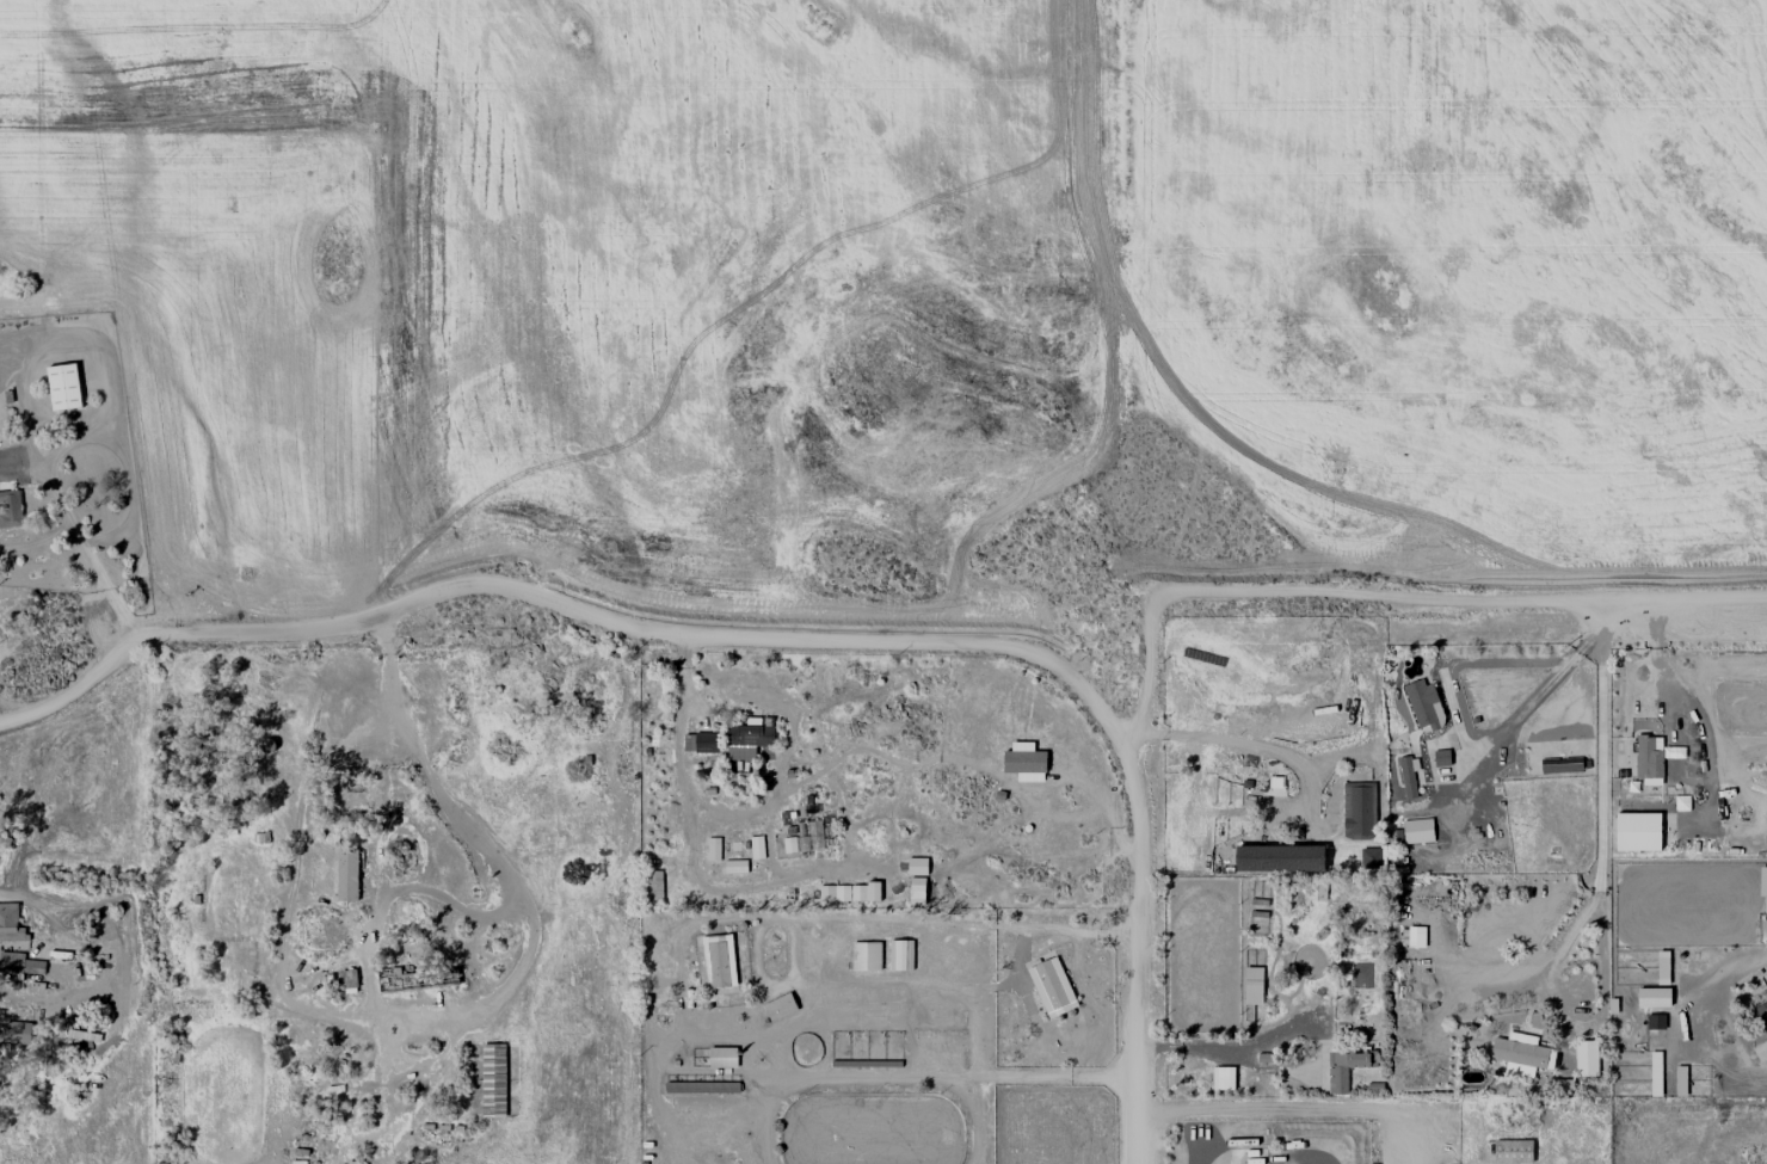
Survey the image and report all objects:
building: (64, 386)
building: (10, 509)
road: (96, 565)
road: (1385, 592)
road: (566, 606)
building: (1424, 704)
road: (1469, 732)
building: (747, 740)
road: (1240, 740)
building: (706, 741)
building: (1441, 757)
building: (1650, 759)
building: (1024, 760)
building: (1409, 775)
road: (388, 796)
building: (1681, 805)
building: (1359, 809)
building: (1417, 830)
building: (1638, 831)
building: (789, 844)
building: (757, 846)
building: (1280, 857)
building: (1371, 857)
building: (735, 866)
building: (962, 873)
building: (347, 874)
building: (1763, 886)
building: (850, 892)
road: (444, 895)
road: (1596, 897)
road: (522, 907)
building: (8, 925)
road: (987, 925)
building: (1416, 936)
road: (1141, 954)
building: (866, 955)
building: (1662, 967)
building: (21, 969)
road: (1714, 979)
building: (1254, 985)
building: (1052, 986)
building: (1654, 997)
building: (780, 1006)
building: (1761, 1016)
building: (1656, 1021)
building: (17, 1031)
road: (1227, 1048)
building: (1519, 1053)
building: (722, 1057)
building: (1587, 1058)
building: (1344, 1067)
building: (1656, 1073)
road: (959, 1077)
building: (1224, 1077)
building: (1681, 1080)
road: (1311, 1107)
building: (1513, 1151)

